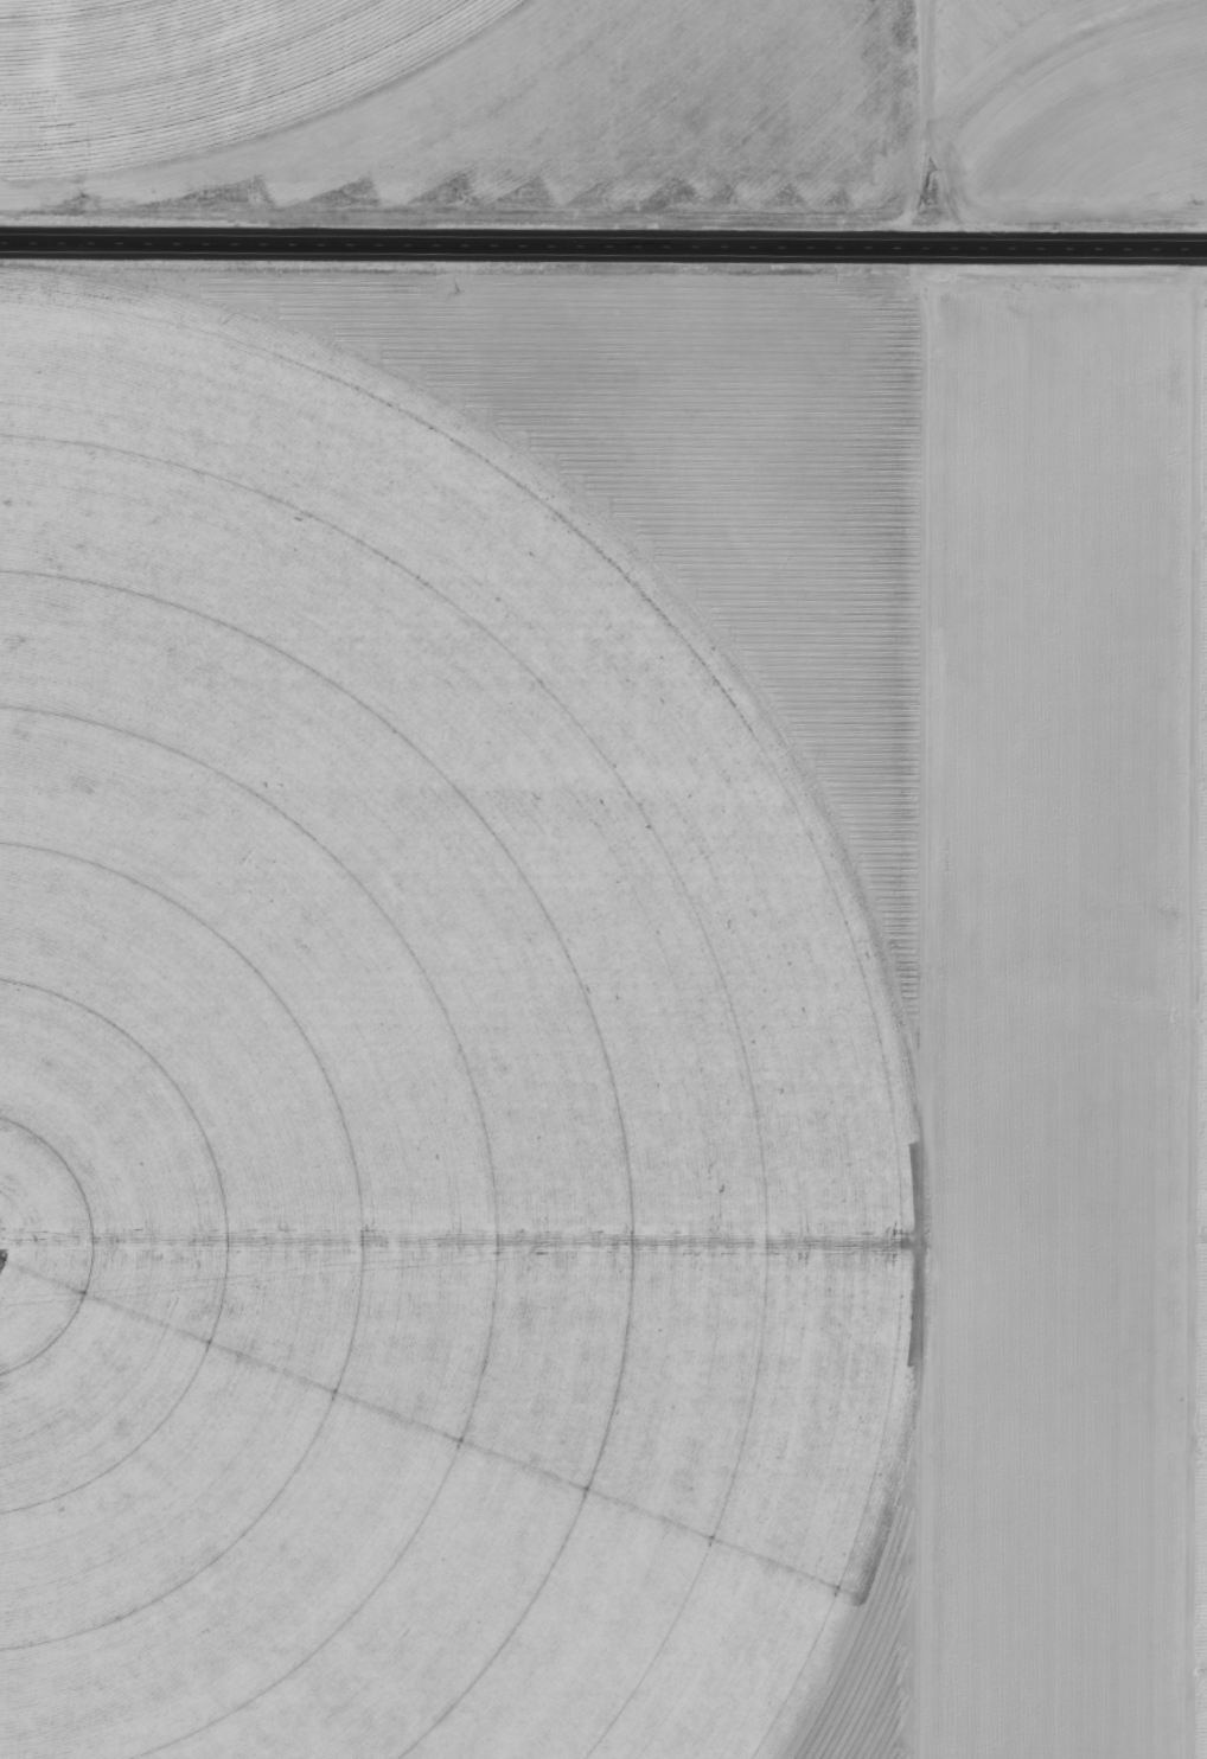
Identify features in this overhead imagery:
road: (603, 258)

